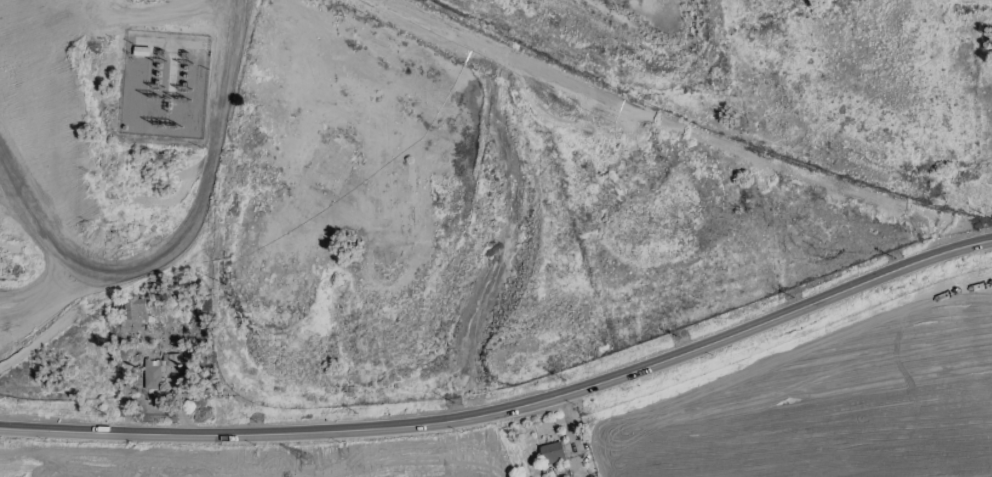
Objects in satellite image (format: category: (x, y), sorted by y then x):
power substation: (162, 85)
road: (676, 123)
quarry: (488, 164)
building: (132, 308)
building: (151, 374)
road: (178, 407)
road: (509, 408)
building: (550, 453)

